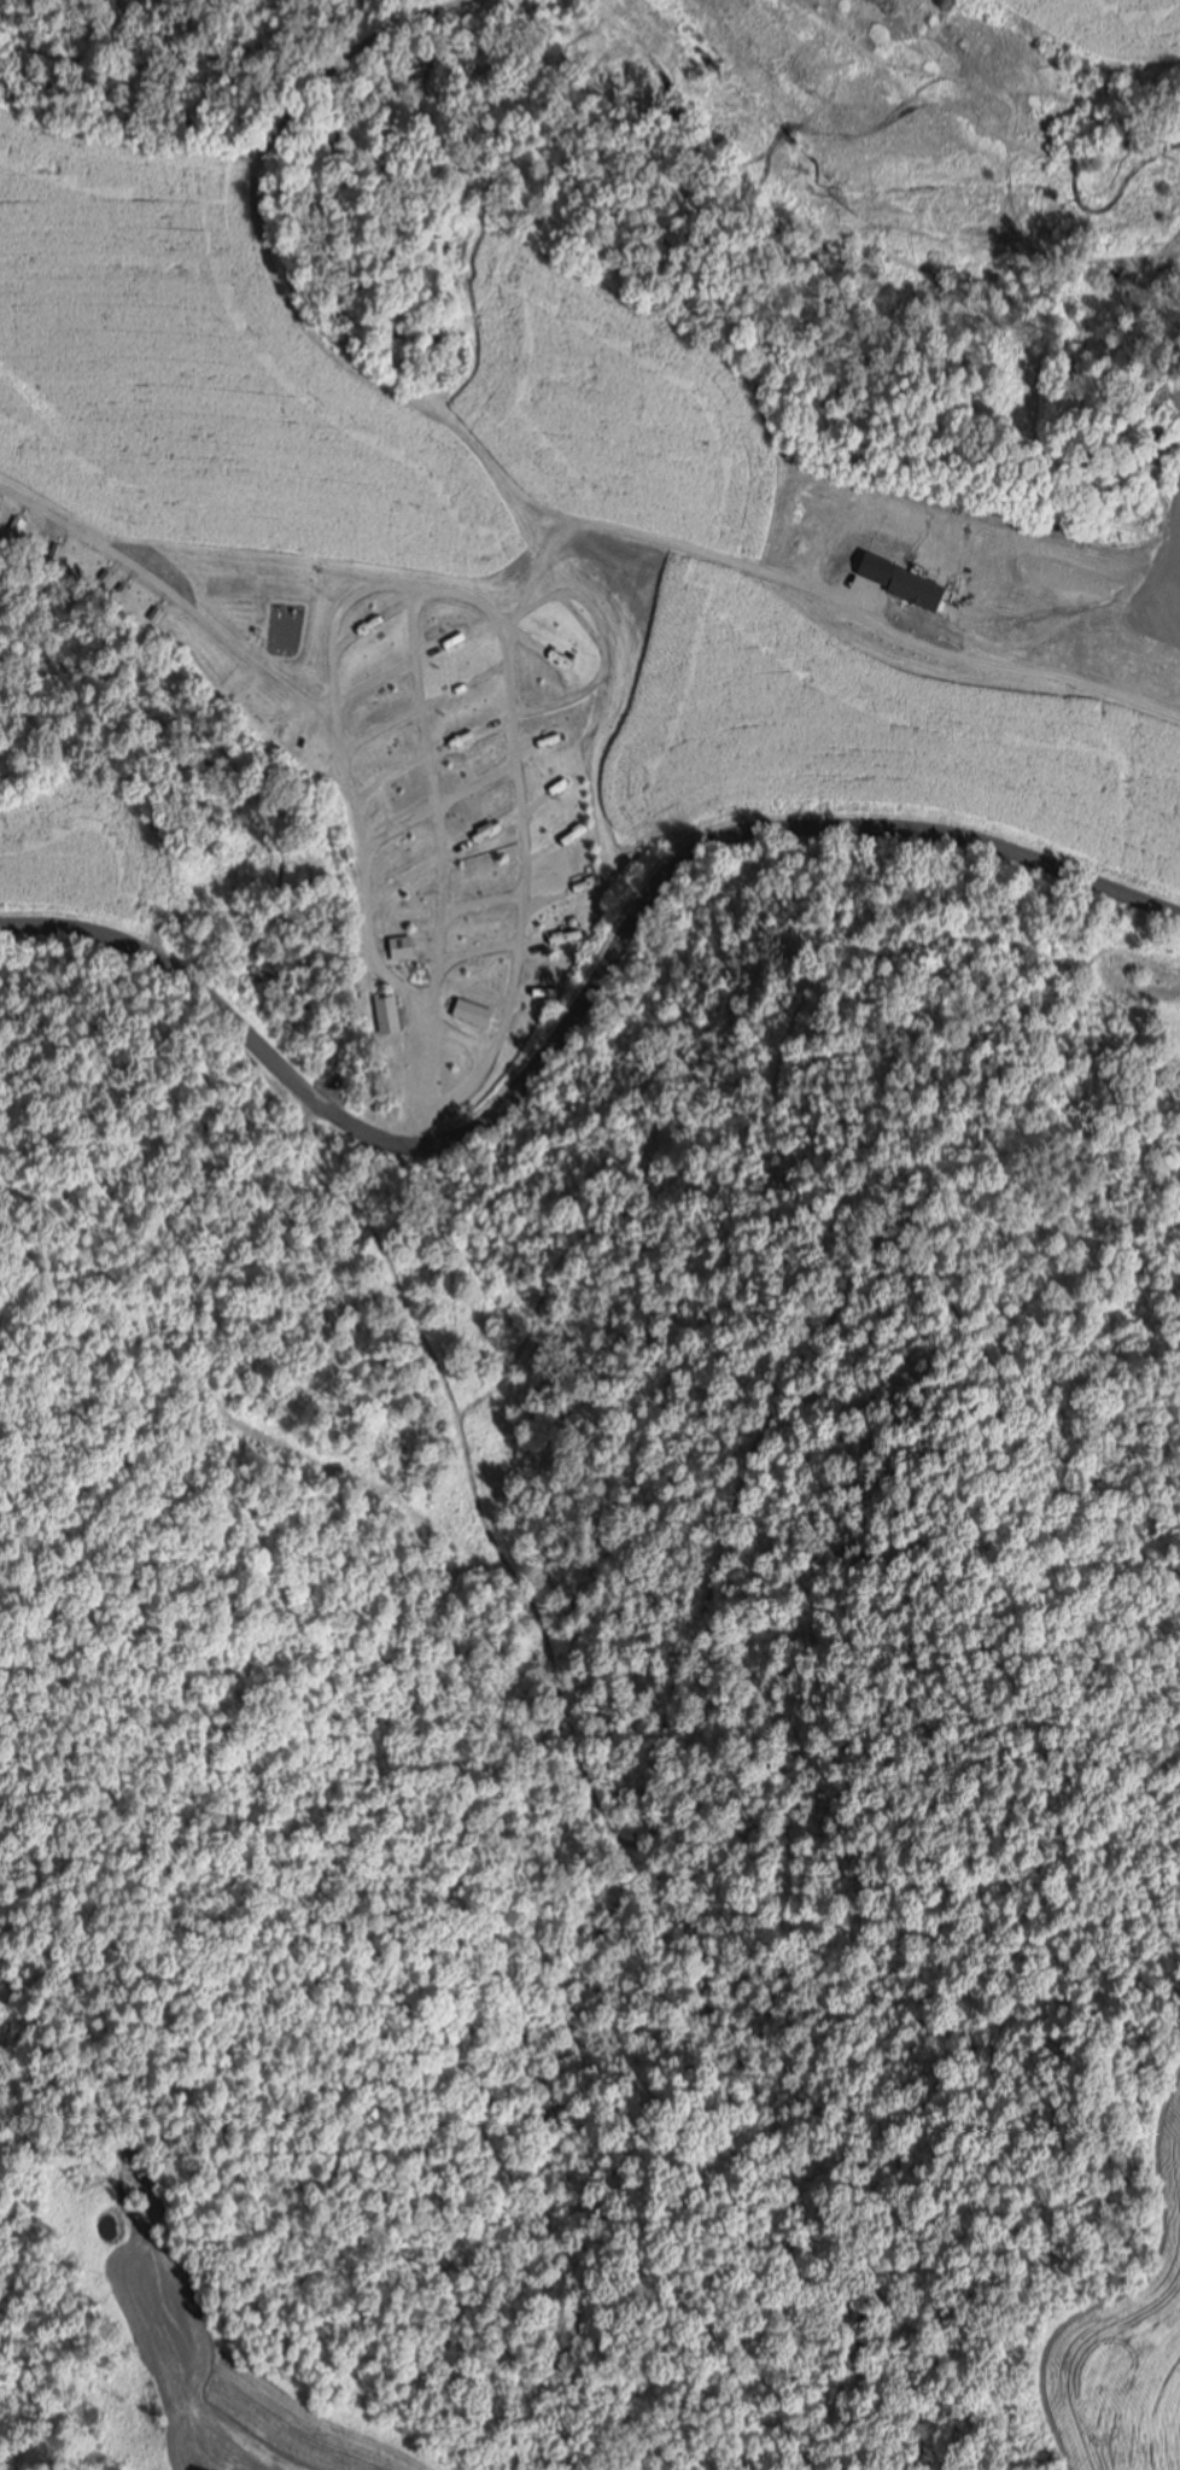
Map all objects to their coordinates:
road: (174, 597)
road: (522, 814)
building: (1139, 965)
road: (574, 1005)

